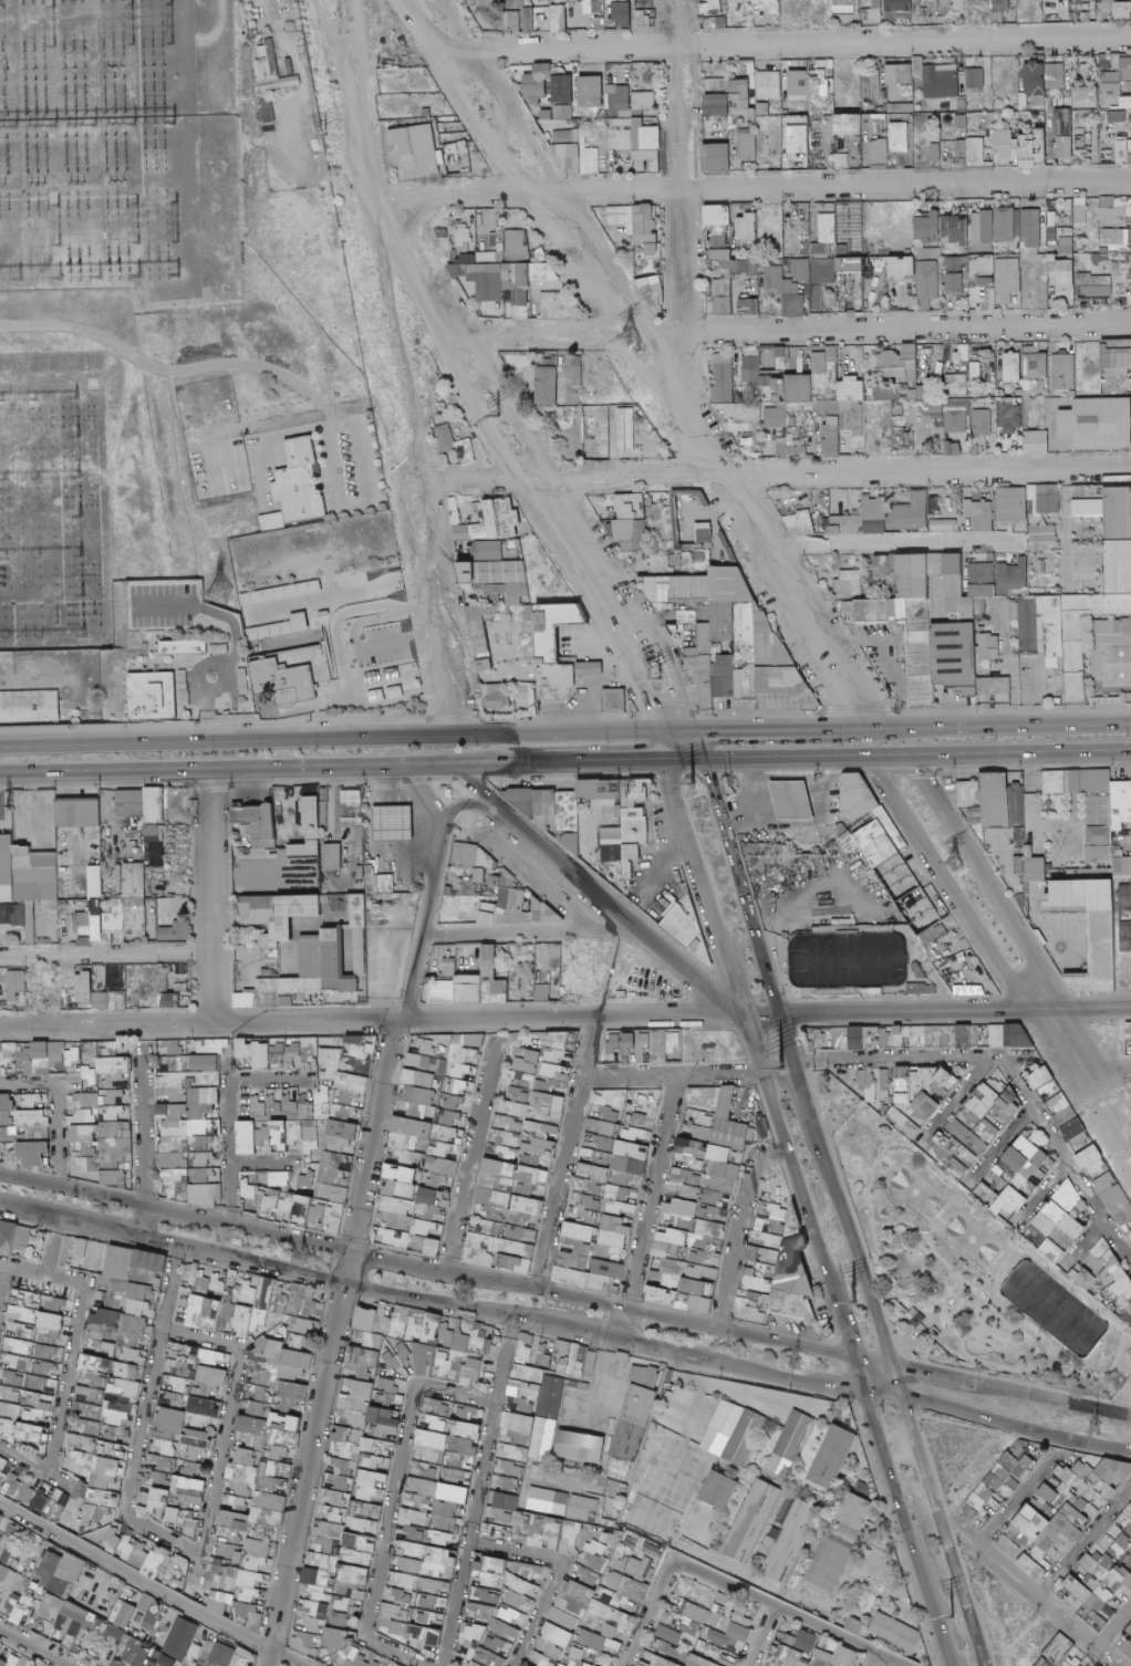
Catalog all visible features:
power tower: (323, 136)
power substation: (159, 319)
power tower: (633, 336)
power tower: (496, 416)
power tower: (218, 589)
power tower: (209, 653)
power tower: (656, 677)
power tower: (686, 784)
gas station: (780, 784)
gas station: (380, 803)
power tower: (953, 860)
park: (847, 958)
power tower: (780, 1073)
power tower: (779, 1074)
park: (912, 1193)
park: (968, 1240)
power tower: (301, 1257)
park: (968, 1272)
power tower: (851, 1300)
park: (1054, 1308)
power tower: (790, 1361)
power tower: (1090, 1425)
power tower: (948, 1615)

